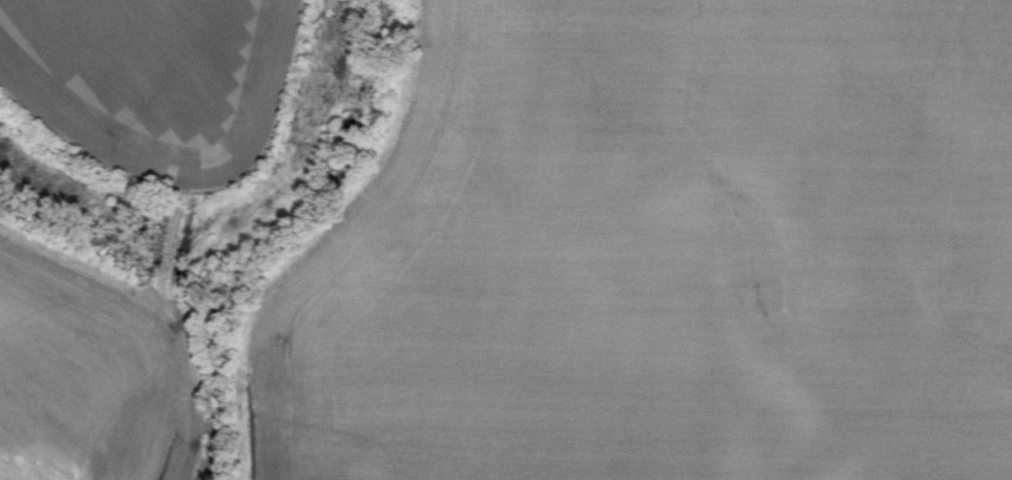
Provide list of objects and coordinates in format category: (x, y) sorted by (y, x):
road: (284, 240)
road: (102, 342)

